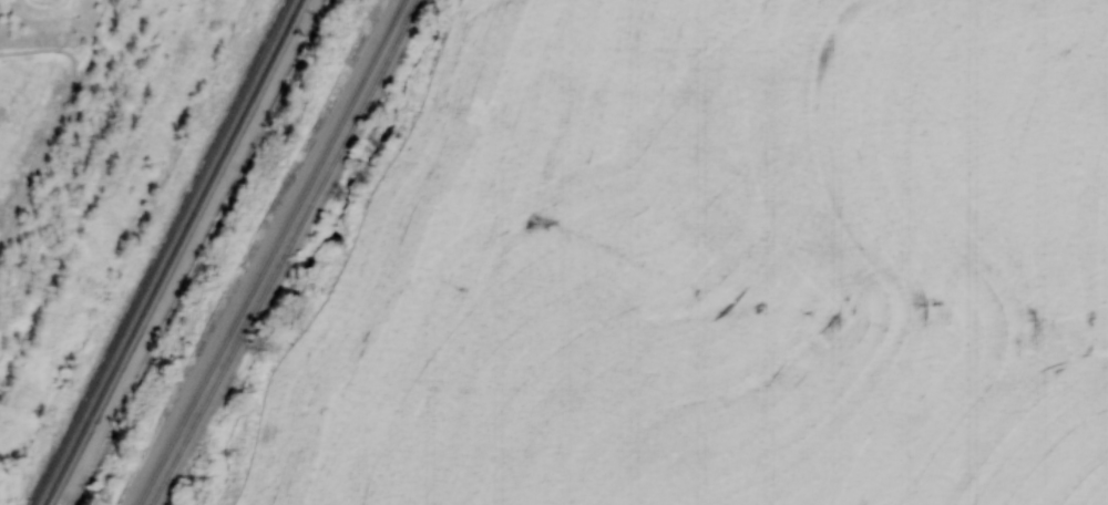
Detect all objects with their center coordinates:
railway: (267, 251)
railway: (173, 252)

